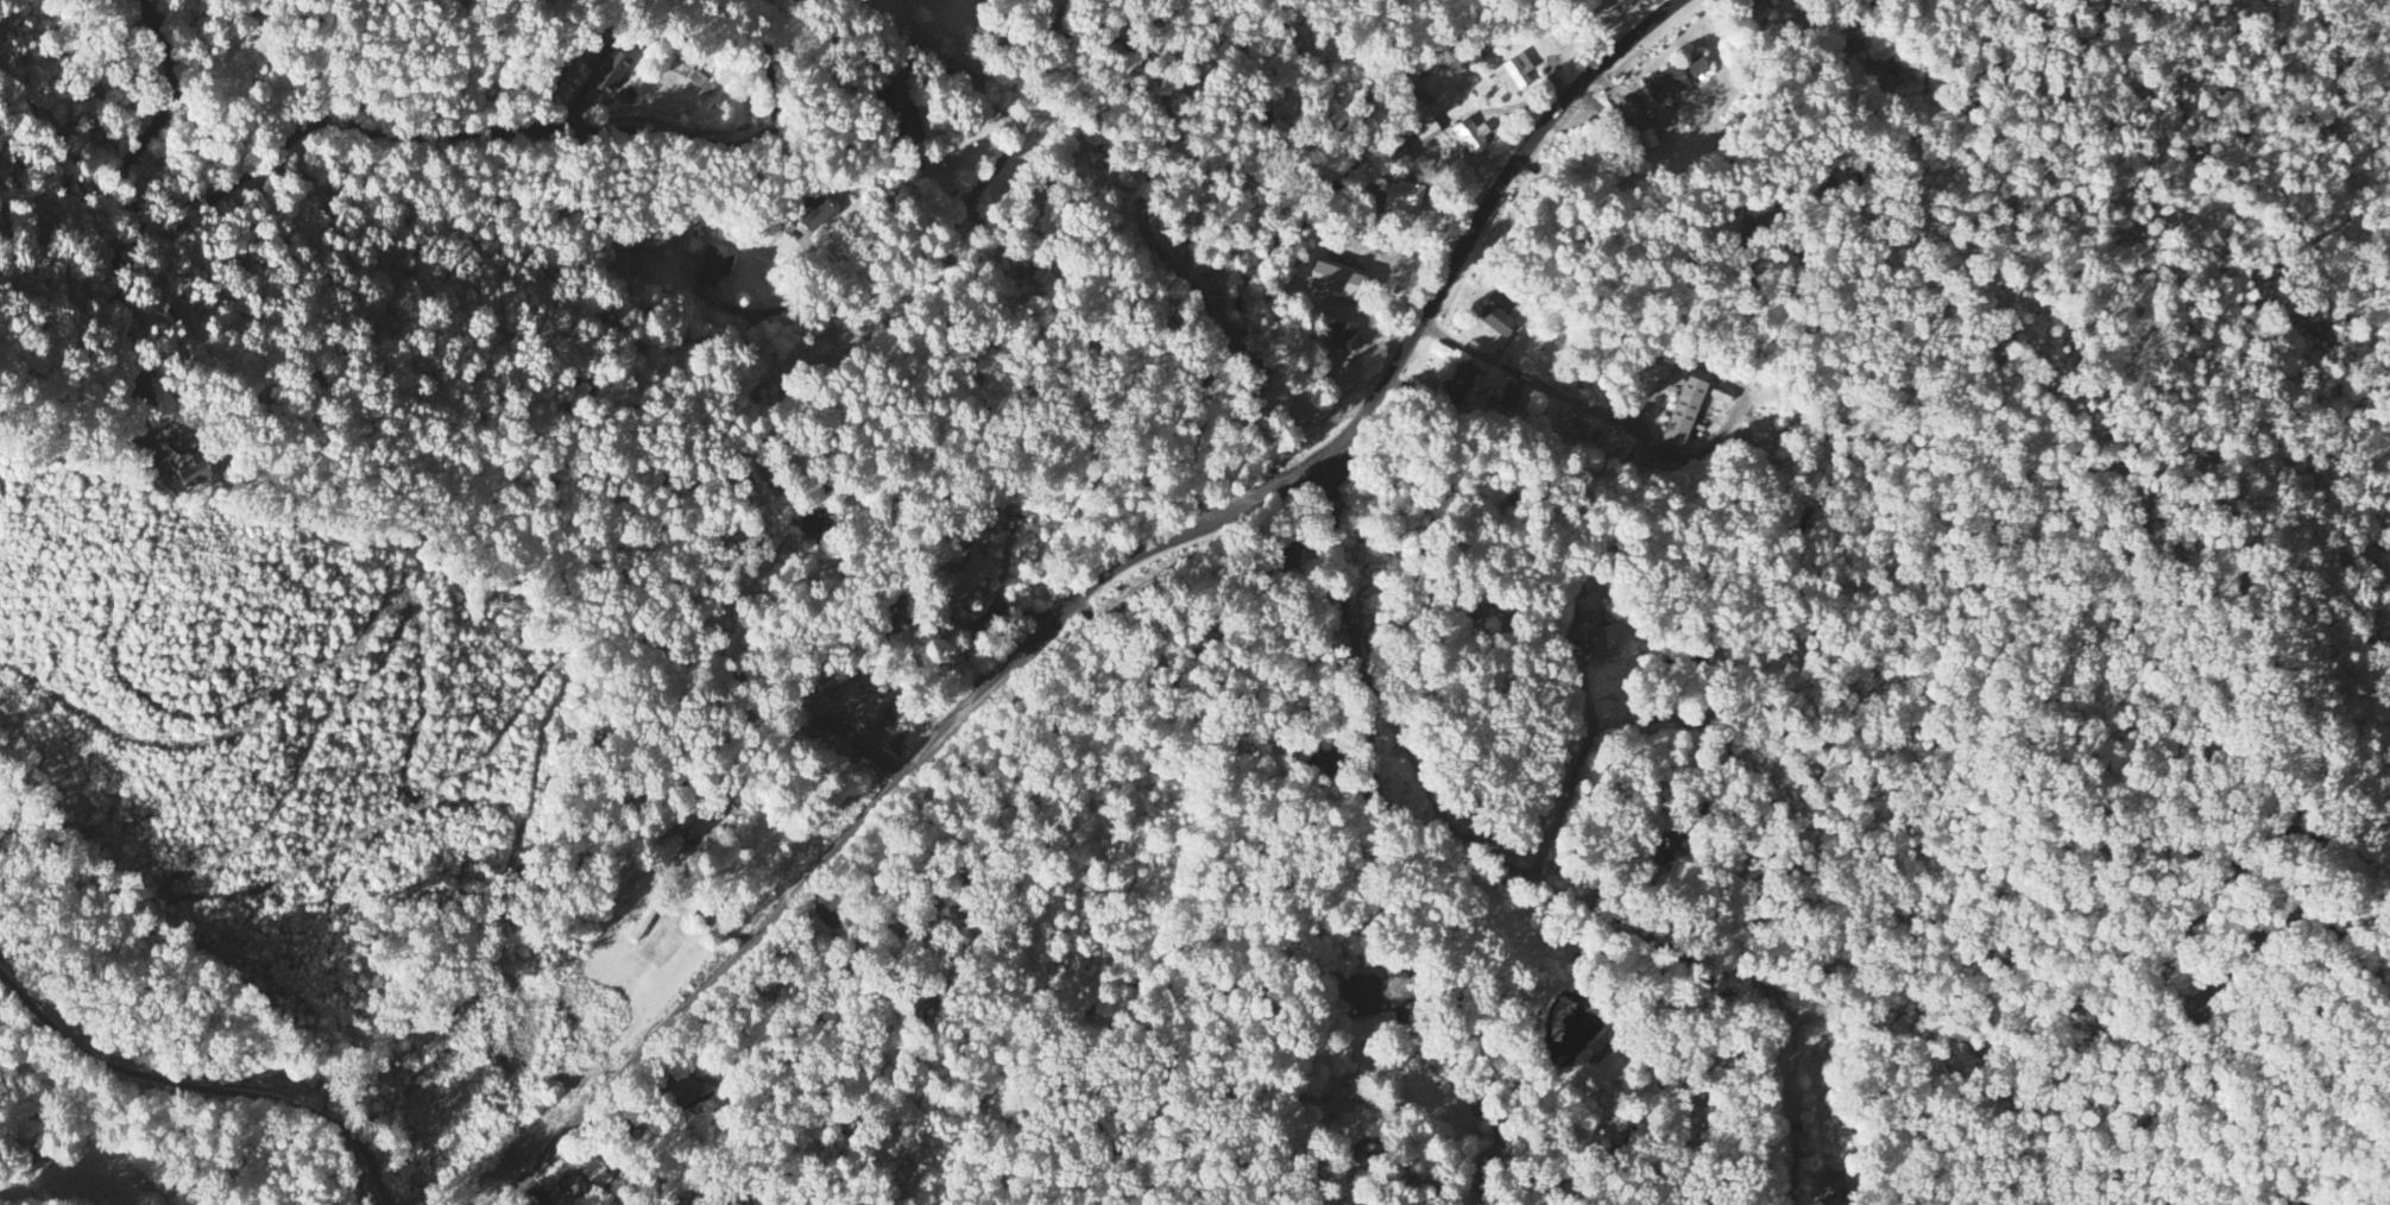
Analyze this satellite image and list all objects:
road: (750, 8)
building: (1758, 8)
road: (1055, 12)
road: (1029, 13)
road: (1070, 29)
road: (1128, 42)
road: (939, 61)
building: (1696, 64)
building: (1514, 68)
road: (174, 69)
building: (608, 69)
building: (700, 78)
building: (1666, 81)
building: (1423, 119)
road: (415, 132)
building: (1468, 133)
building: (1402, 194)
building: (814, 212)
road: (1475, 226)
building: (713, 264)
building: (1335, 279)
building: (1497, 317)
building: (1347, 334)
building: (1463, 373)
road: (1526, 376)
building: (1511, 392)
road: (743, 402)
building: (1683, 410)
building: (190, 463)
road: (1273, 487)
road: (1335, 556)
building: (1603, 638)
road: (1405, 742)
road: (852, 828)
road: (1391, 847)
road: (1534, 879)
road: (698, 903)
road: (1062, 916)
road: (1477, 942)
road: (2159, 967)
building: (1366, 991)
dam: (1585, 992)
dam: (1606, 1015)
building: (1609, 1060)
road: (204, 1080)
road: (2159, 1103)
building: (585, 1174)
building: (1830, 1185)
road: (2300, 1203)

